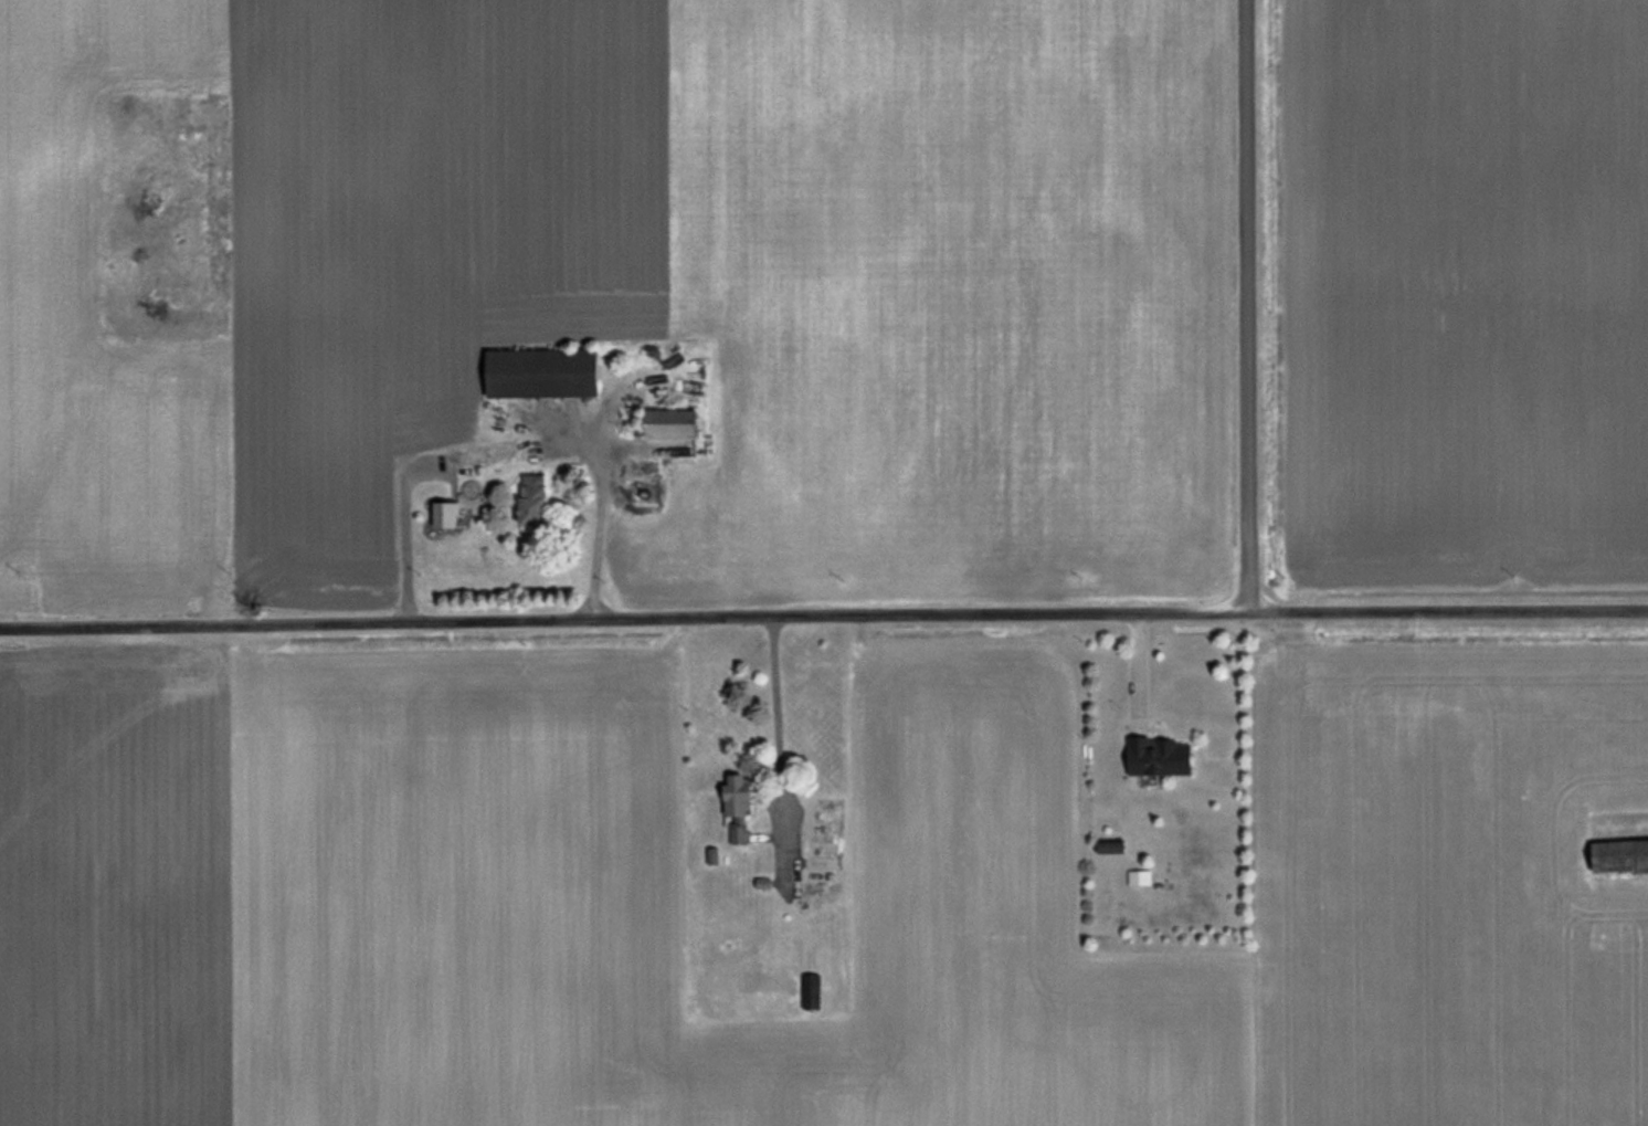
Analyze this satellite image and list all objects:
road: (1248, 306)
building: (550, 373)
building: (679, 424)
building: (538, 501)
building: (446, 515)
road: (599, 523)
road: (403, 534)
road: (823, 617)
road: (1139, 671)
road: (778, 734)
building: (1165, 757)
building: (741, 808)
building: (832, 811)
building: (824, 872)

